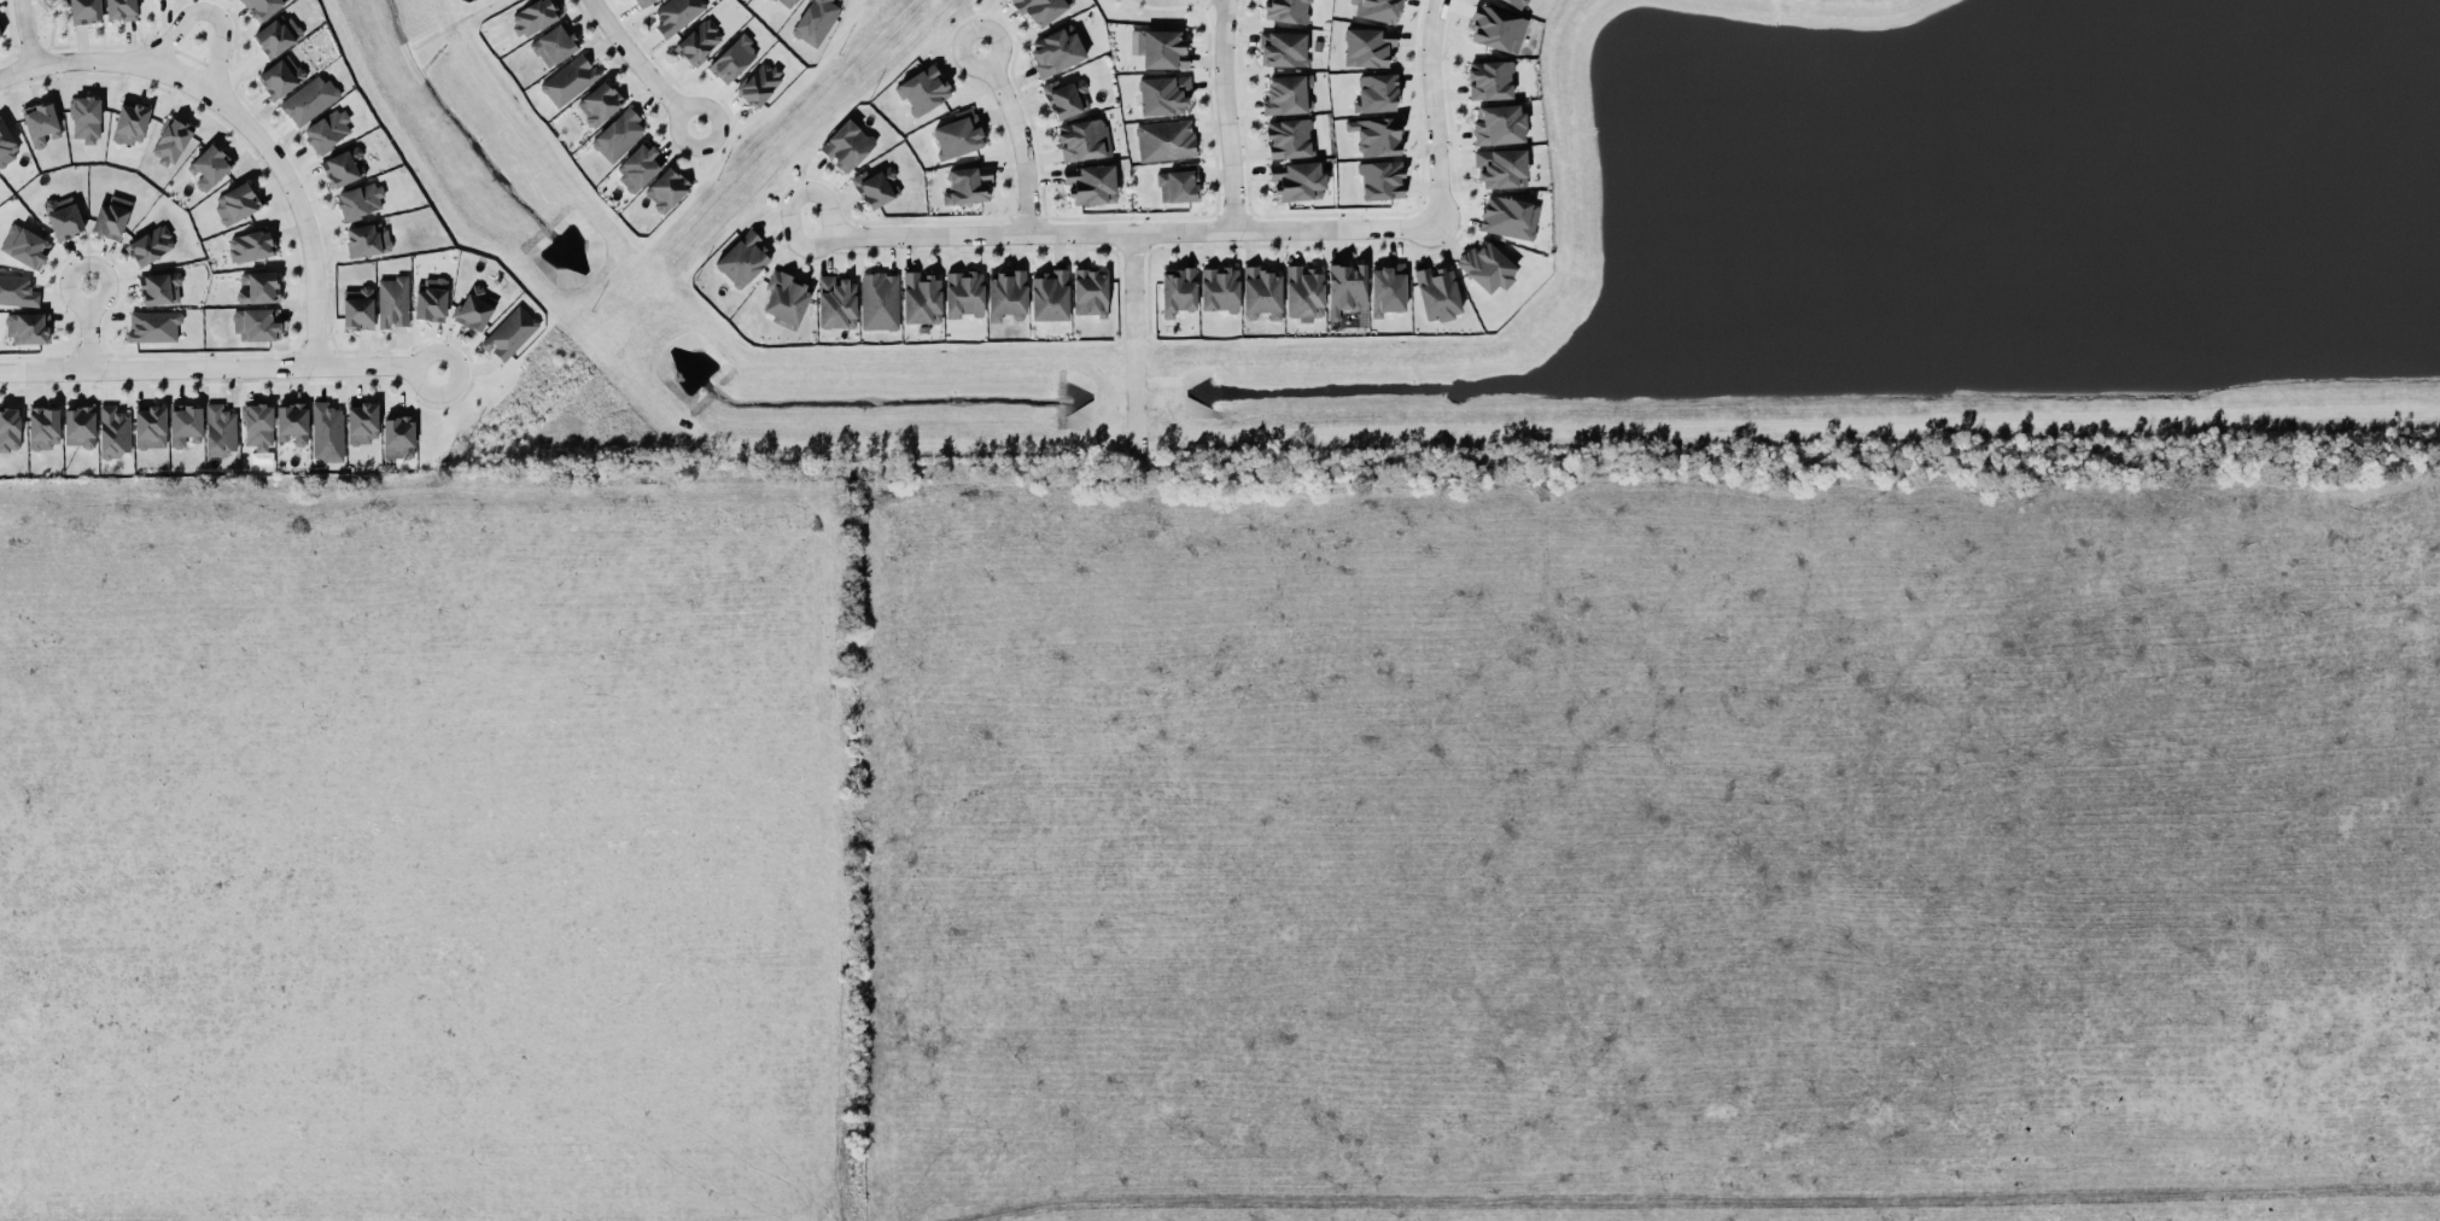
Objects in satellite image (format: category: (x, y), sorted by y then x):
building: (642, 1)
building: (786, 2)
building: (1517, 2)
building: (261, 7)
building: (121, 8)
building: (1040, 8)
building: (1286, 10)
building: (1378, 10)
building: (84, 11)
road: (210, 12)
building: (676, 13)
building: (533, 16)
building: (815, 21)
building: (1496, 28)
road: (27, 33)
building: (278, 34)
building: (0, 35)
building: (699, 41)
building: (555, 43)
building: (1367, 46)
building: (1160, 47)
building: (1283, 48)
building: (1056, 49)
building: (732, 58)
road: (130, 64)
road: (642, 65)
road: (17, 71)
building: (281, 75)
building: (570, 78)
building: (1489, 78)
building: (760, 83)
building: (923, 89)
building: (1286, 93)
building: (1376, 93)
building: (1163, 95)
building: (1066, 97)
building: (309, 99)
building: (599, 103)
road: (1435, 112)
road: (1228, 113)
building: (86, 117)
building: (130, 122)
building: (40, 123)
building: (1499, 124)
building: (327, 130)
building: (618, 134)
building: (958, 134)
road: (1021, 134)
building: (1376, 135)
building: (1289, 138)
building: (1080, 139)
building: (171, 140)
building: (1164, 140)
building: (847, 145)
building: (6, 146)
building: (210, 165)
building: (344, 165)
building: (1500, 166)
building: (638, 168)
building: (1380, 179)
building: (1297, 181)
building: (1090, 183)
building: (1178, 183)
building: (968, 185)
building: (876, 186)
building: (666, 188)
building: (360, 200)
road: (790, 200)
building: (235, 201)
building: (63, 216)
building: (111, 216)
building: (1508, 216)
road: (304, 217)
road: (1137, 228)
building: (367, 239)
building: (151, 244)
building: (25, 245)
building: (250, 245)
building: (742, 258)
building: (1487, 265)
building: (159, 287)
building: (1345, 287)
building: (1219, 288)
building: (1387, 288)
building: (17, 290)
building: (1177, 291)
building: (1261, 291)
building: (1090, 292)
building: (1303, 292)
building: (1437, 292)
building: (964, 293)
building: (1005, 293)
building: (1050, 294)
building: (921, 297)
building: (430, 298)
building: (786, 298)
building: (392, 300)
building: (878, 300)
building: (836, 302)
building: (474, 306)
building: (357, 308)
building: (256, 323)
building: (152, 325)
building: (28, 326)
road: (89, 327)
building: (509, 332)
road: (1136, 340)
road: (220, 367)
building: (362, 421)
building: (292, 422)
building: (185, 423)
building: (43, 426)
building: (78, 426)
building: (150, 426)
building: (258, 426)
building: (8, 428)
building: (113, 430)
building: (220, 430)
building: (326, 432)
building: (398, 437)

